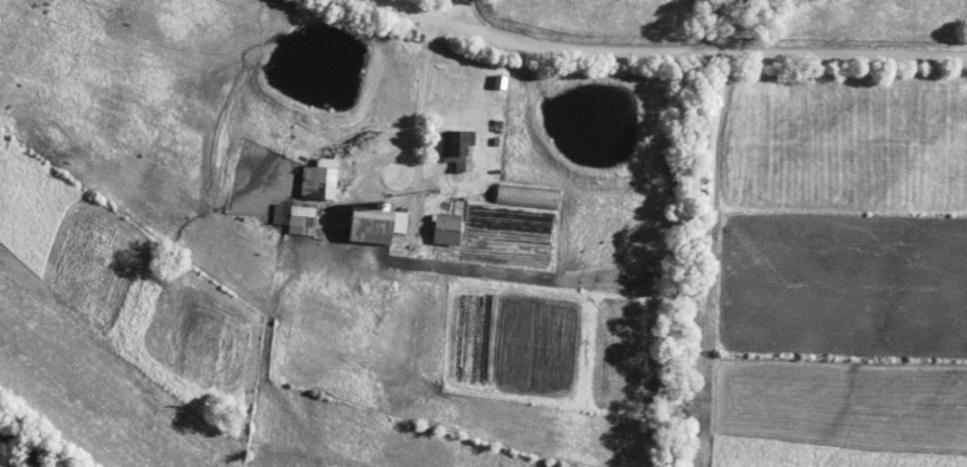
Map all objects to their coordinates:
road: (473, 13)
road: (679, 52)
road: (429, 76)
building: (462, 161)
building: (323, 181)
road: (401, 199)
building: (284, 216)
building: (304, 222)
building: (379, 227)
building: (451, 231)

